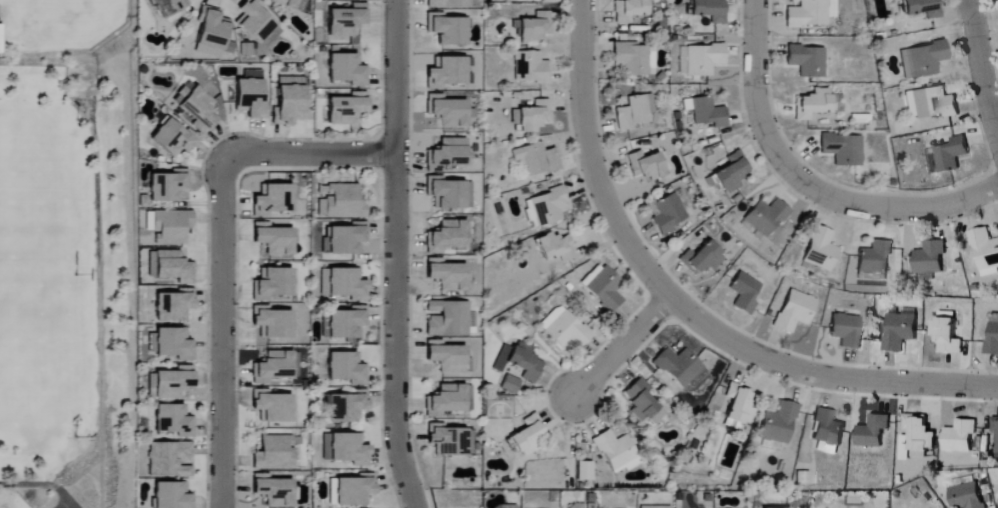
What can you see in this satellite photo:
building: (285, 3)
building: (447, 3)
building: (169, 6)
building: (923, 8)
building: (710, 9)
building: (629, 10)
building: (808, 14)
building: (254, 20)
building: (346, 20)
building: (534, 28)
building: (447, 29)
building: (210, 32)
building: (251, 49)
building: (631, 58)
building: (704, 59)
building: (923, 59)
building: (806, 60)
building: (682, 61)
building: (530, 67)
building: (346, 69)
road: (979, 69)
building: (447, 72)
building: (249, 98)
building: (287, 103)
building: (931, 103)
building: (194, 104)
building: (813, 104)
building: (346, 108)
building: (447, 111)
building: (633, 112)
building: (705, 112)
building: (530, 117)
building: (172, 138)
building: (843, 149)
road: (311, 154)
building: (951, 154)
building: (446, 155)
building: (536, 159)
building: (646, 165)
park: (8, 172)
building: (732, 172)
road: (805, 183)
building: (167, 185)
building: (449, 193)
building: (271, 199)
building: (341, 202)
building: (548, 206)
building: (667, 212)
building: (766, 217)
building: (170, 227)
building: (446, 237)
building: (273, 239)
building: (344, 239)
building: (555, 247)
building: (821, 250)
building: (985, 252)
road: (394, 255)
building: (874, 258)
building: (929, 258)
building: (701, 259)
building: (169, 266)
park: (65, 268)
building: (447, 275)
park: (36, 283)
building: (271, 283)
building: (343, 284)
building: (602, 287)
building: (744, 293)
building: (172, 305)
road: (680, 306)
building: (795, 311)
building: (450, 319)
building: (346, 323)
building: (270, 324)
building: (564, 329)
road: (222, 330)
building: (846, 330)
building: (899, 331)
building: (946, 334)
building: (992, 340)
building: (171, 343)
road: (619, 347)
building: (448, 358)
building: (525, 362)
building: (270, 366)
building: (679, 367)
building: (346, 368)
park: (36, 377)
building: (170, 383)
building: (510, 385)
building: (447, 400)
building: (643, 403)
building: (271, 407)
building: (345, 407)
building: (738, 408)
building: (171, 420)
building: (778, 424)
building: (995, 426)
building: (872, 431)
building: (827, 432)
building: (919, 432)
building: (528, 435)
building: (960, 437)
building: (449, 441)
building: (345, 449)
building: (615, 449)
building: (273, 453)
building: (168, 459)
building: (584, 471)
road: (42, 484)
park: (88, 484)
building: (271, 490)
building: (354, 490)
building: (170, 495)
building: (968, 496)
park: (4, 507)

